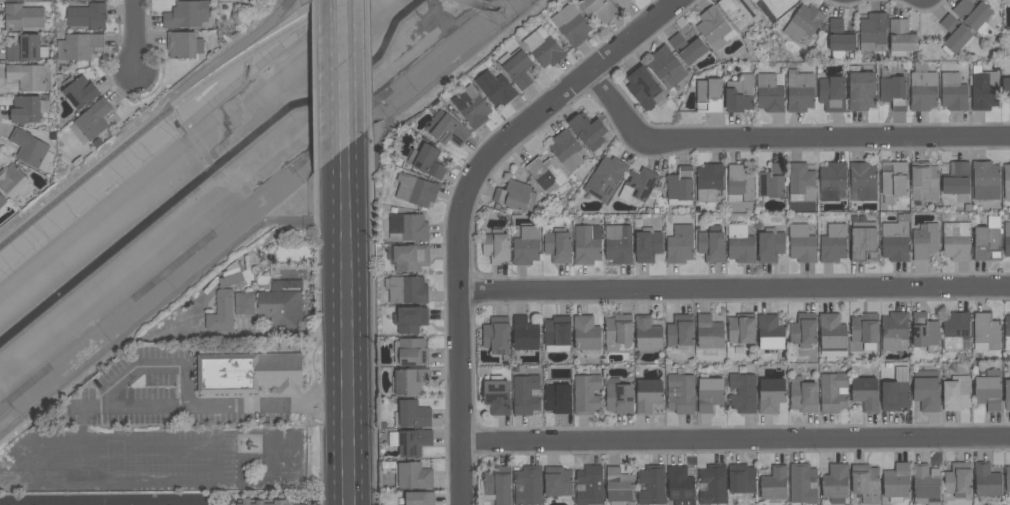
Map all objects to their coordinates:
building: (10, 0)
building: (230, 1)
building: (621, 3)
building: (778, 6)
building: (598, 9)
building: (738, 12)
building: (973, 14)
building: (187, 15)
building: (88, 16)
building: (23, 17)
building: (803, 23)
building: (571, 25)
building: (714, 28)
building: (873, 32)
road: (363, 33)
building: (954, 35)
building: (901, 37)
building: (839, 39)
road: (137, 42)
road: (332, 43)
building: (184, 45)
building: (79, 47)
building: (543, 47)
building: (687, 48)
building: (27, 49)
road: (223, 58)
building: (666, 67)
building: (517, 68)
building: (27, 77)
road: (438, 81)
building: (642, 86)
building: (1005, 87)
building: (495, 88)
building: (892, 88)
building: (922, 88)
building: (983, 88)
building: (860, 89)
building: (799, 91)
building: (953, 91)
building: (80, 92)
building: (770, 92)
building: (831, 93)
building: (739, 94)
building: (708, 95)
road: (364, 106)
building: (471, 106)
building: (1009, 107)
building: (29, 109)
road: (161, 116)
building: (92, 122)
road: (333, 127)
building: (448, 129)
building: (588, 130)
road: (784, 137)
building: (32, 150)
building: (566, 150)
building: (427, 160)
building: (546, 174)
building: (605, 178)
building: (956, 178)
building: (13, 180)
building: (831, 180)
building: (863, 180)
building: (985, 180)
building: (709, 181)
building: (893, 181)
building: (924, 181)
building: (1006, 181)
building: (771, 182)
building: (801, 182)
building: (739, 183)
building: (637, 185)
building: (680, 186)
building: (415, 190)
road: (334, 195)
building: (515, 195)
building: (2, 202)
road: (464, 202)
building: (408, 227)
building: (895, 239)
building: (1007, 239)
building: (987, 240)
building: (924, 241)
building: (955, 241)
building: (863, 242)
building: (833, 243)
building: (587, 244)
building: (617, 244)
building: (740, 244)
building: (802, 244)
building: (558, 245)
building: (647, 245)
building: (679, 245)
building: (711, 245)
building: (770, 245)
building: (526, 246)
building: (496, 247)
building: (409, 257)
building: (232, 275)
road: (735, 287)
building: (406, 289)
building: (245, 303)
building: (282, 304)
building: (222, 312)
building: (410, 319)
road: (365, 325)
building: (741, 329)
building: (803, 330)
building: (865, 330)
building: (924, 330)
building: (955, 330)
building: (618, 331)
building: (680, 331)
building: (894, 331)
building: (985, 331)
building: (709, 332)
building: (770, 332)
building: (1007, 332)
building: (647, 333)
building: (524, 334)
building: (556, 334)
building: (496, 335)
building: (586, 335)
building: (832, 336)
building: (410, 352)
road: (335, 363)
road: (154, 366)
building: (248, 373)
building: (409, 381)
building: (988, 389)
building: (865, 390)
building: (926, 390)
building: (895, 391)
building: (680, 392)
building: (742, 392)
building: (833, 392)
building: (709, 393)
building: (956, 393)
building: (525, 394)
building: (586, 394)
building: (1007, 394)
building: (496, 395)
building: (648, 395)
building: (770, 395)
building: (803, 395)
building: (618, 396)
road: (317, 397)
building: (557, 399)
road: (317, 415)
building: (412, 415)
road: (735, 440)
building: (410, 442)
road: (199, 448)
building: (413, 476)
building: (958, 479)
building: (742, 480)
building: (986, 480)
building: (1007, 480)
building: (557, 482)
building: (896, 482)
building: (774, 483)
building: (803, 483)
building: (835, 483)
building: (925, 483)
building: (495, 484)
building: (864, 484)
building: (527, 485)
building: (589, 485)
building: (651, 485)
building: (680, 485)
building: (711, 485)
building: (618, 486)
road: (261, 496)
building: (419, 498)
building: (263, 502)
road: (42, 504)
road: (105, 504)
road: (125, 504)

